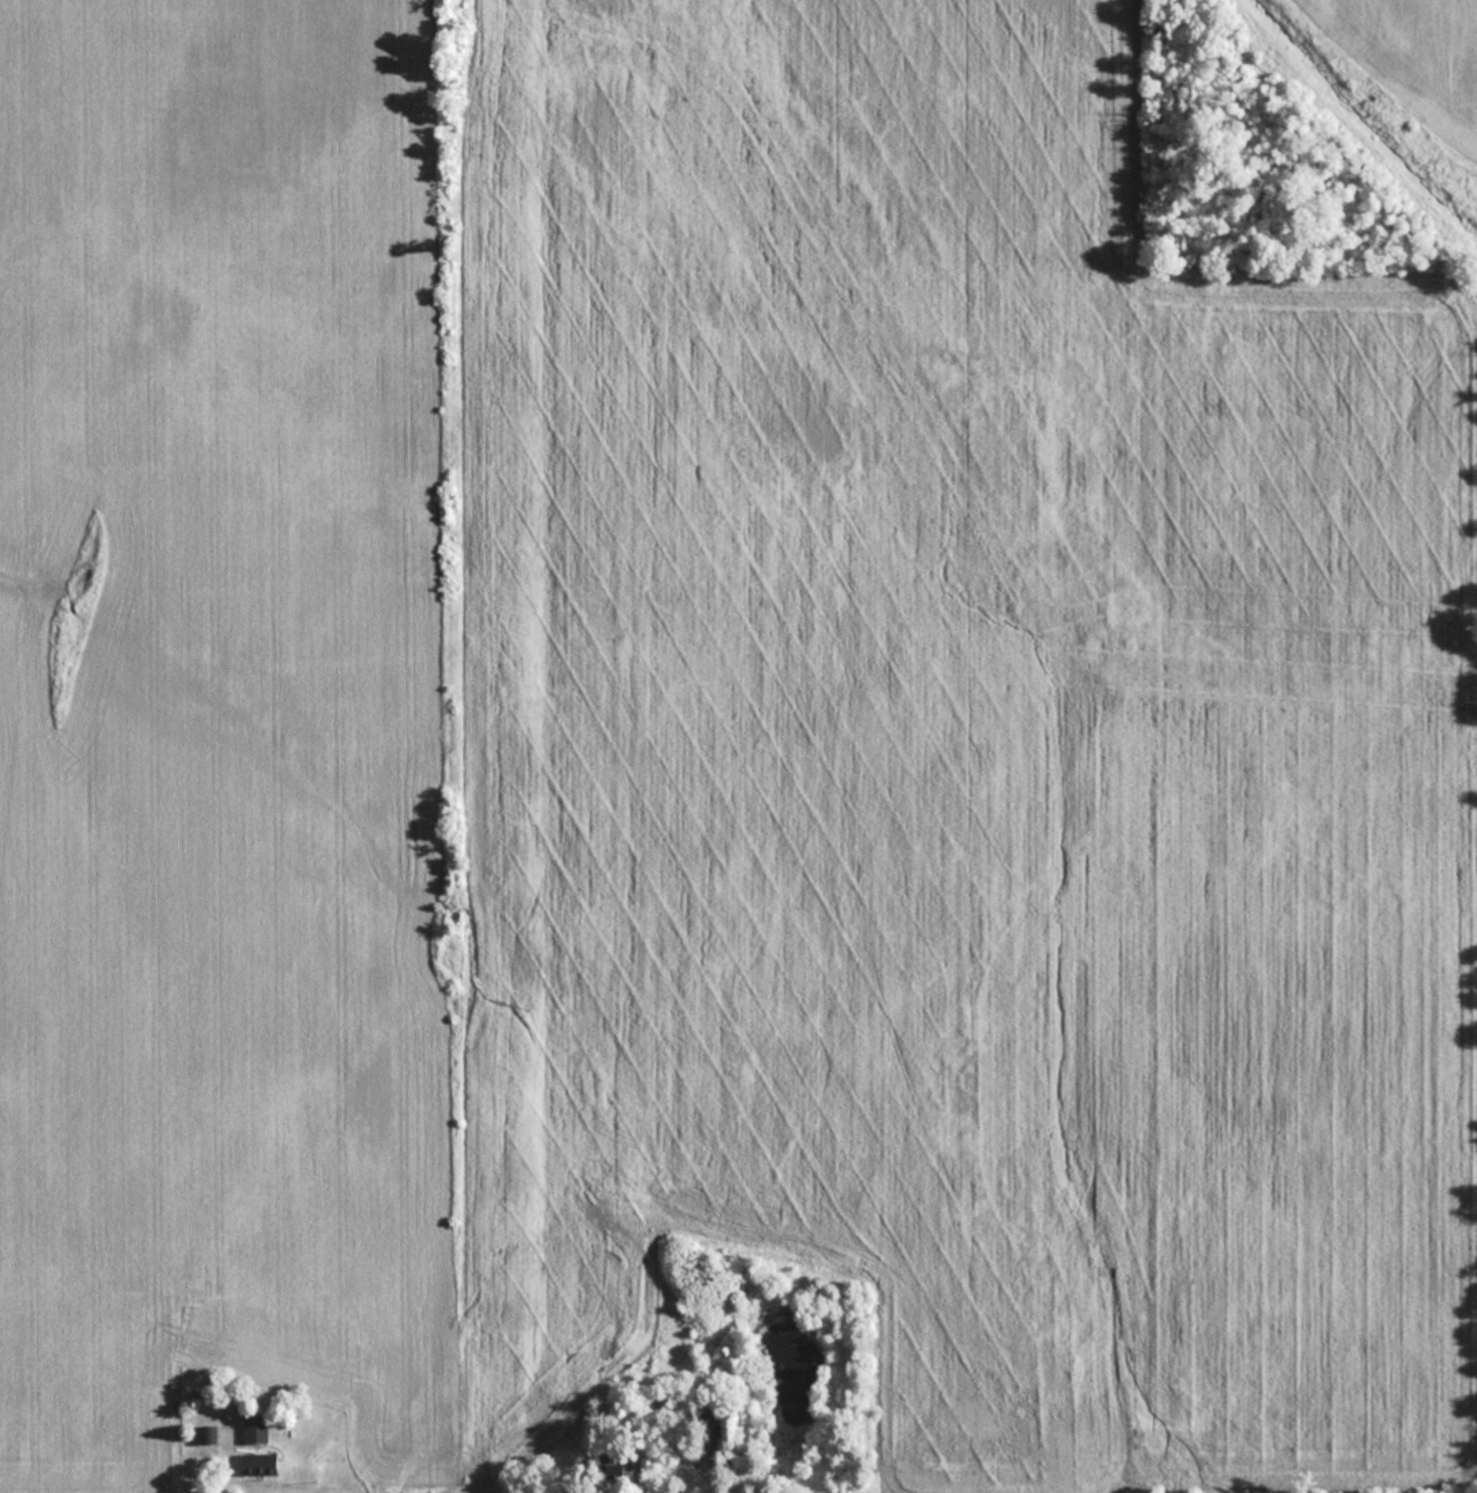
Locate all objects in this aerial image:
building: (226, 1406)
building: (256, 1426)
building: (711, 1426)
building: (211, 1432)
building: (260, 1462)
building: (615, 1463)

